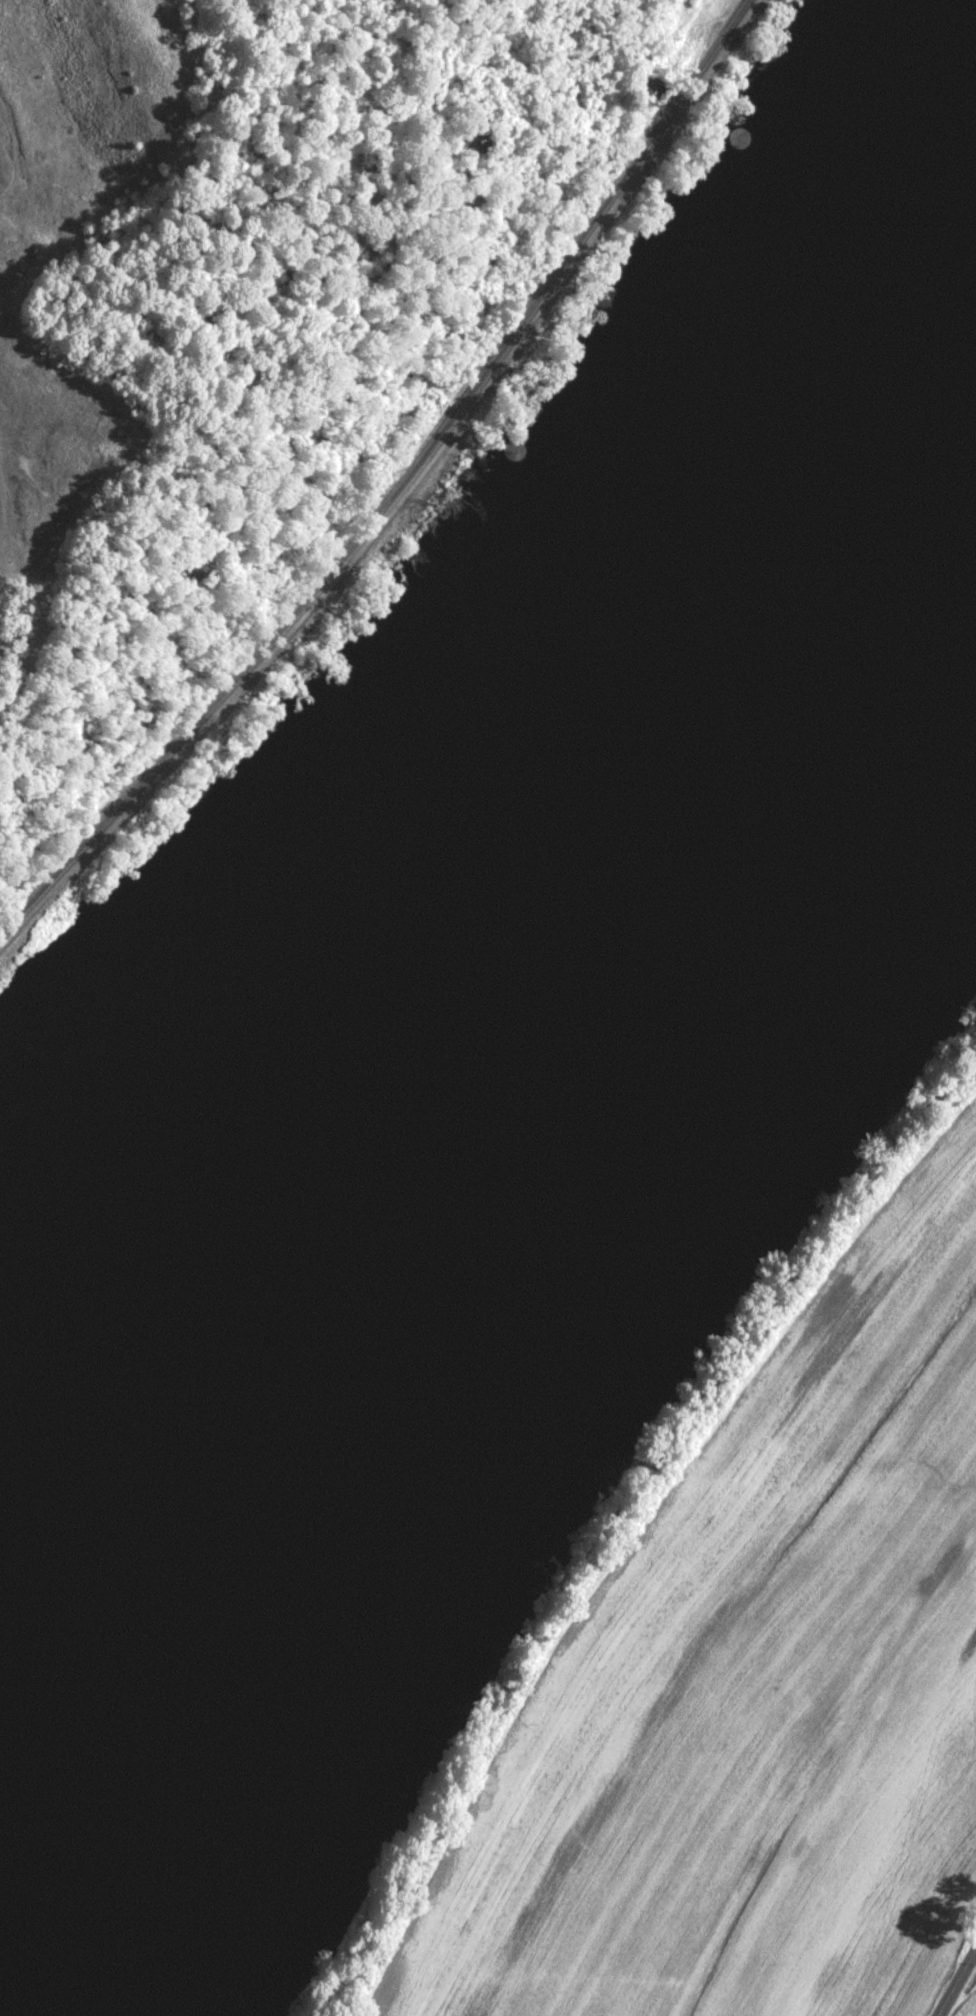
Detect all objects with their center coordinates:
railway: (400, 491)
river: (473, 998)
crop: (740, 1670)
road: (958, 1981)

